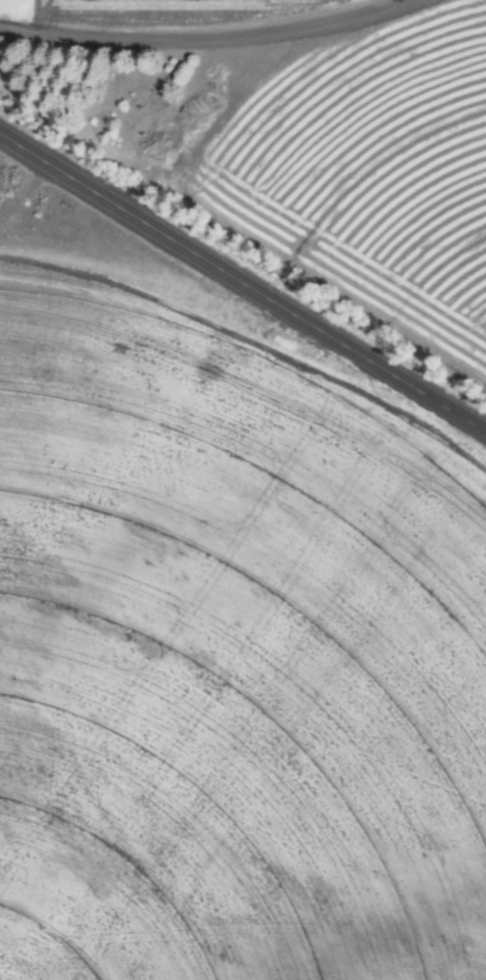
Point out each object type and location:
crop: (59, 1)
road: (242, 290)

